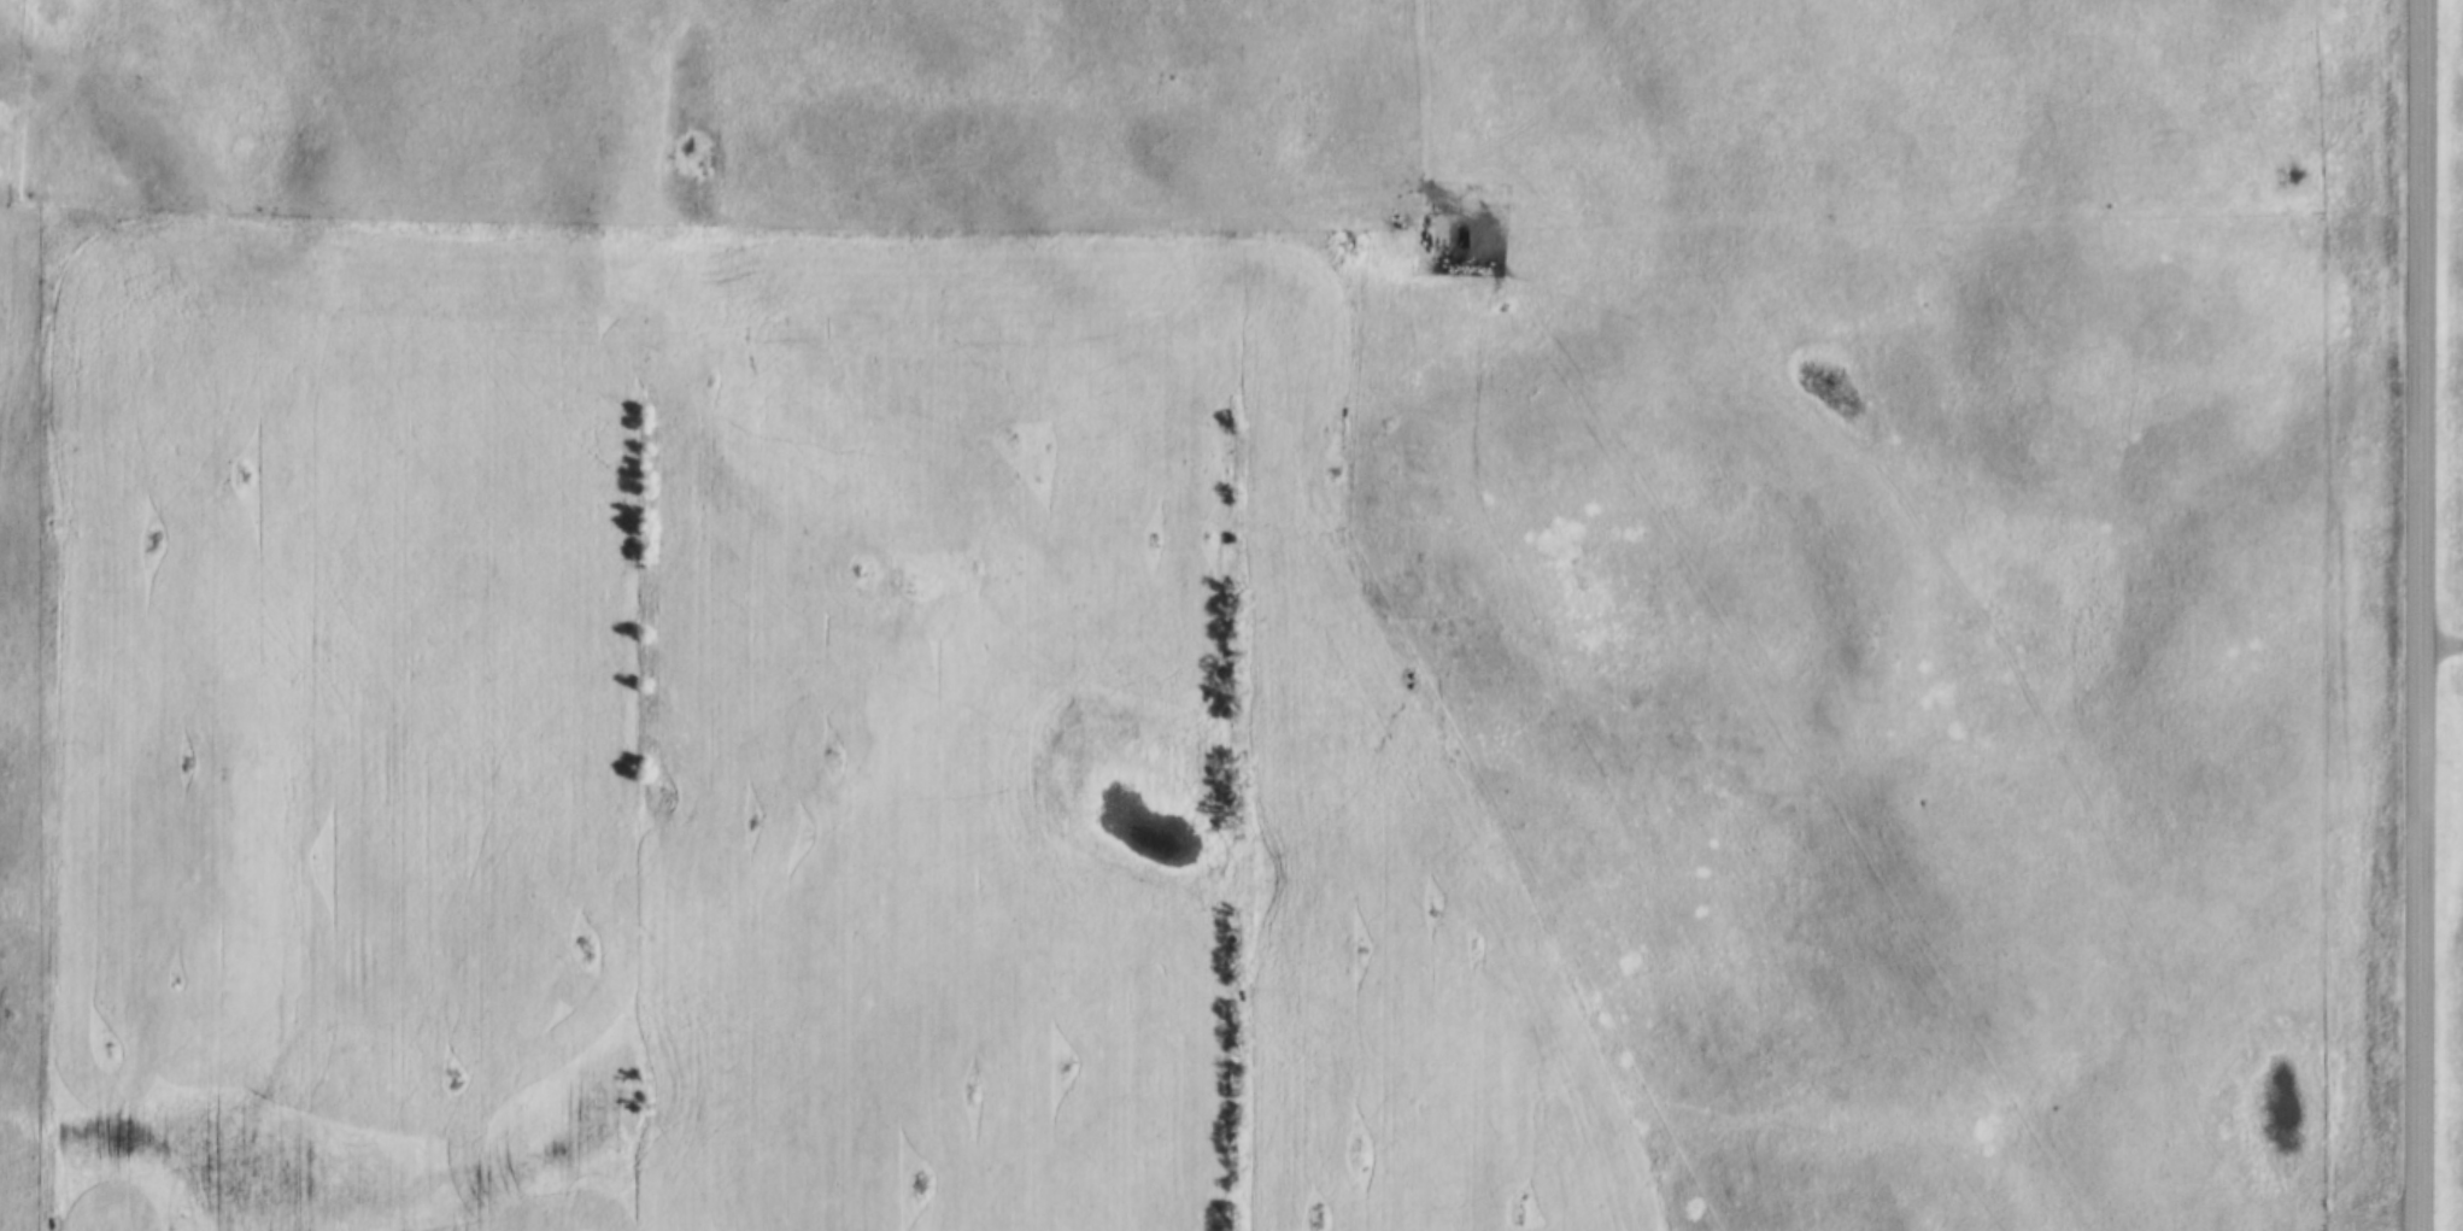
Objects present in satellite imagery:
road: (2421, 615)

